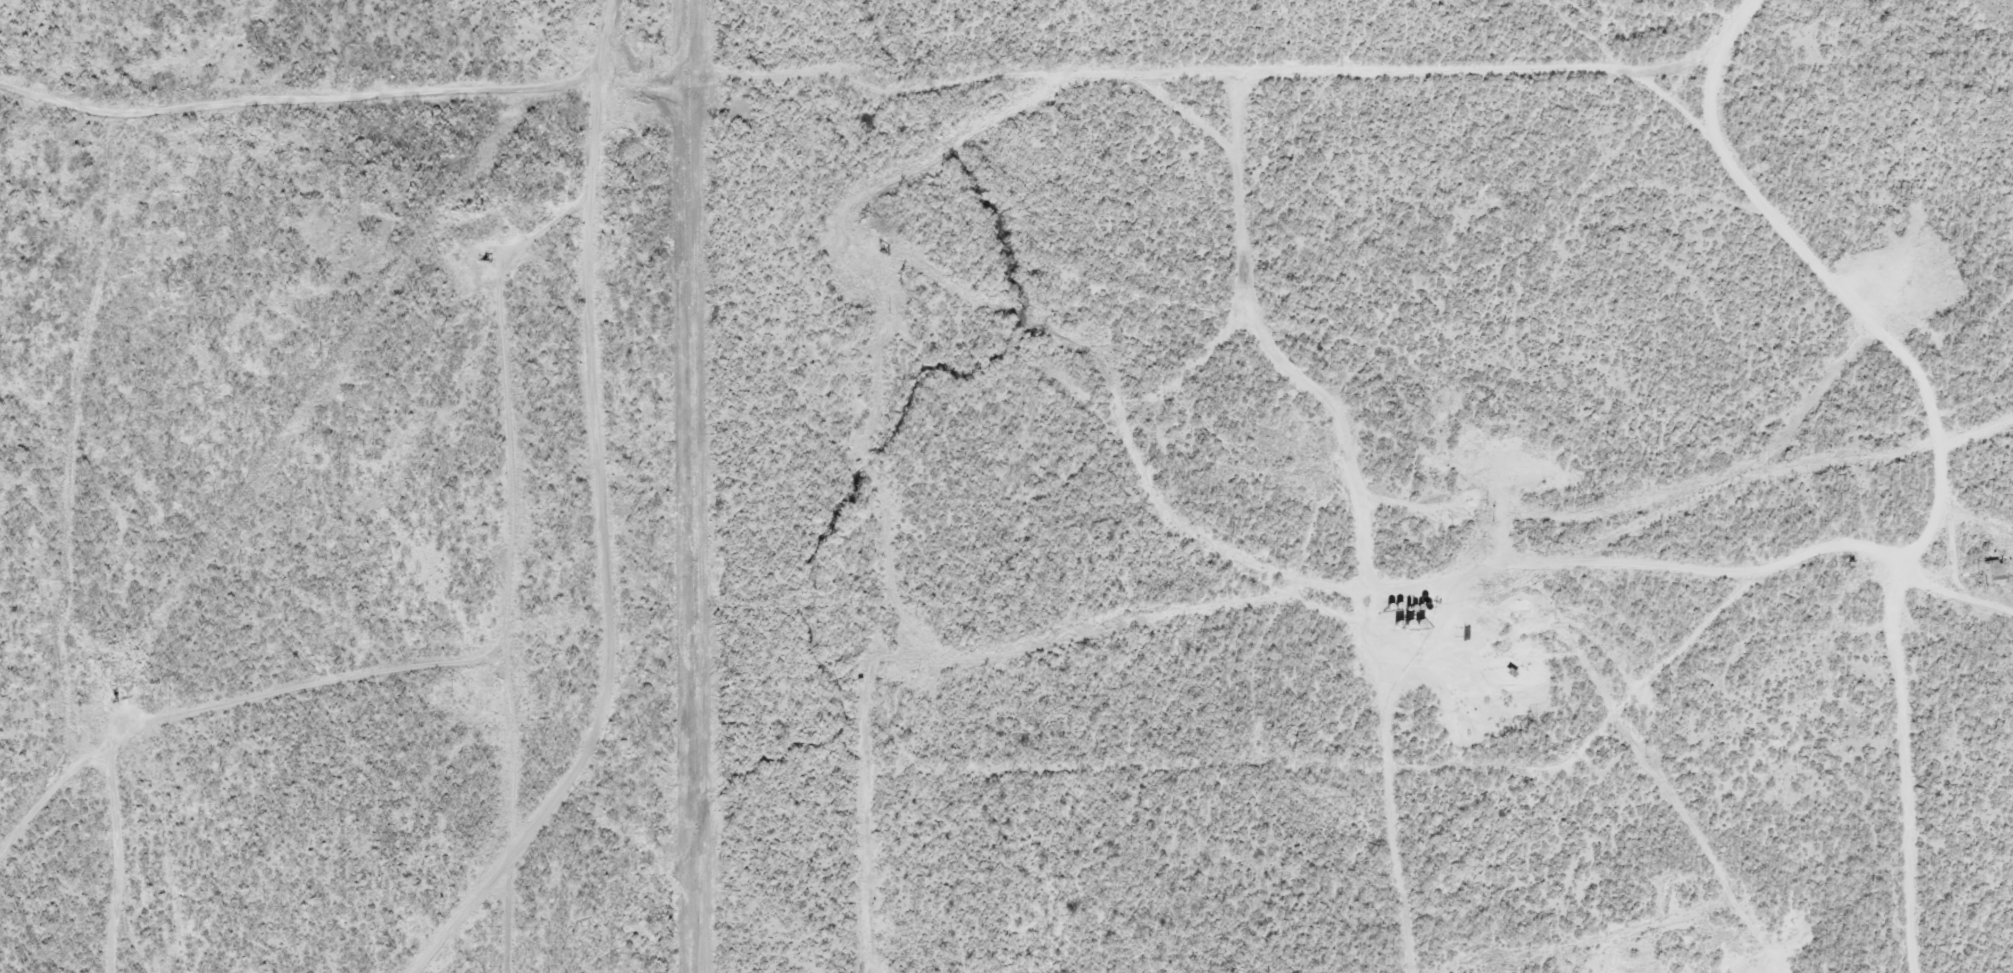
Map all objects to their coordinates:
road: (1935, 448)

